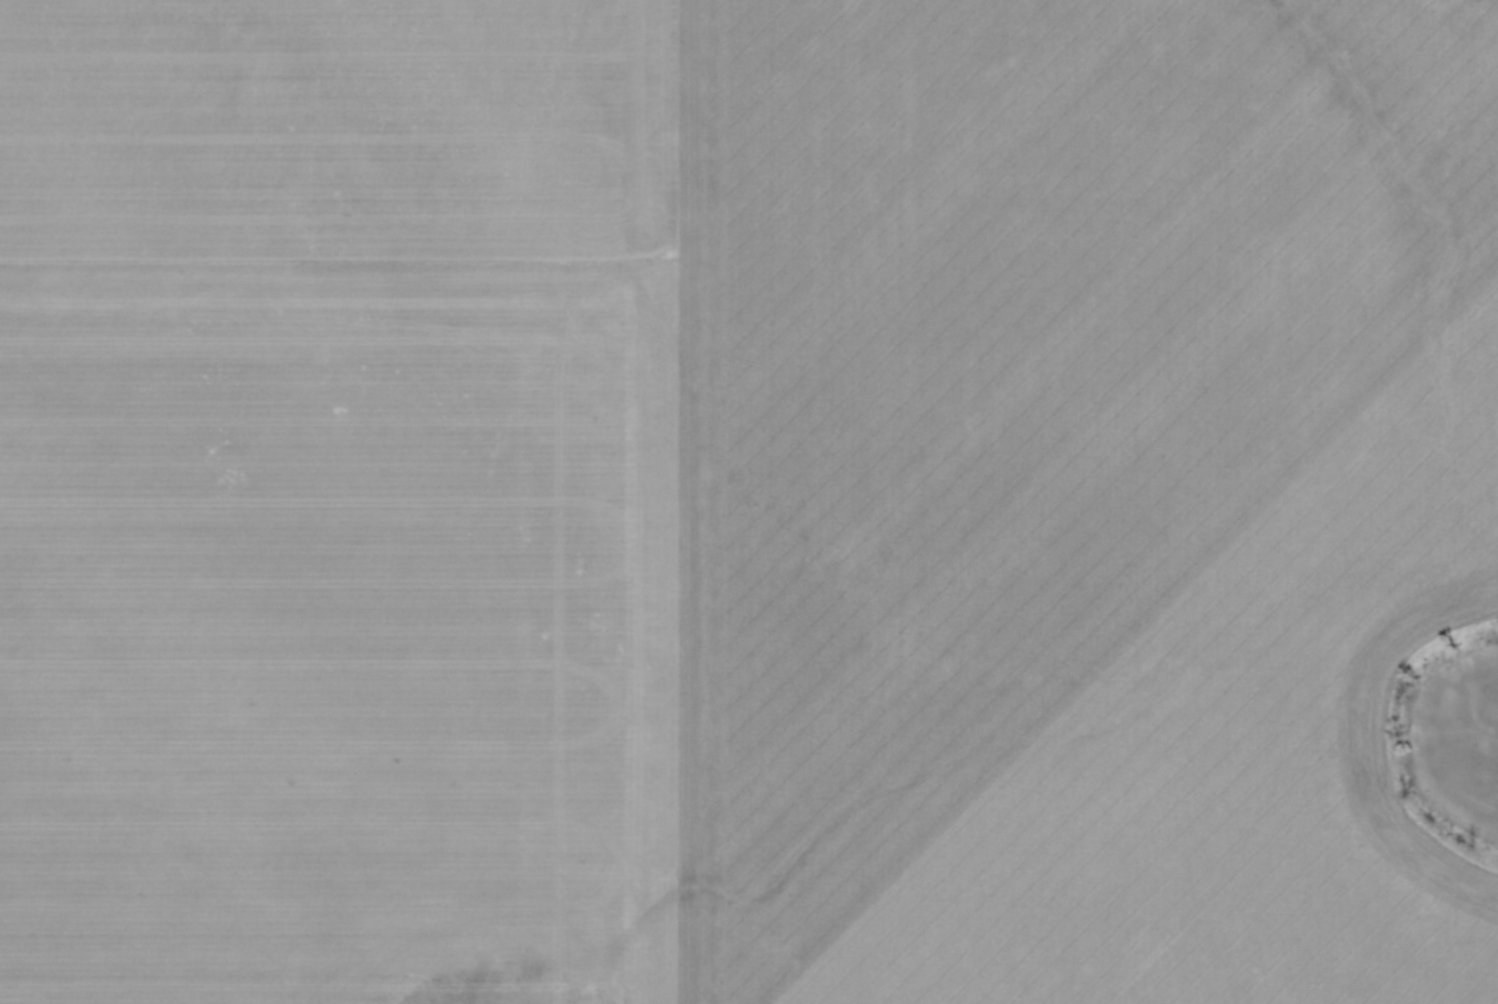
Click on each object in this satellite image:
crop: (737, 498)

